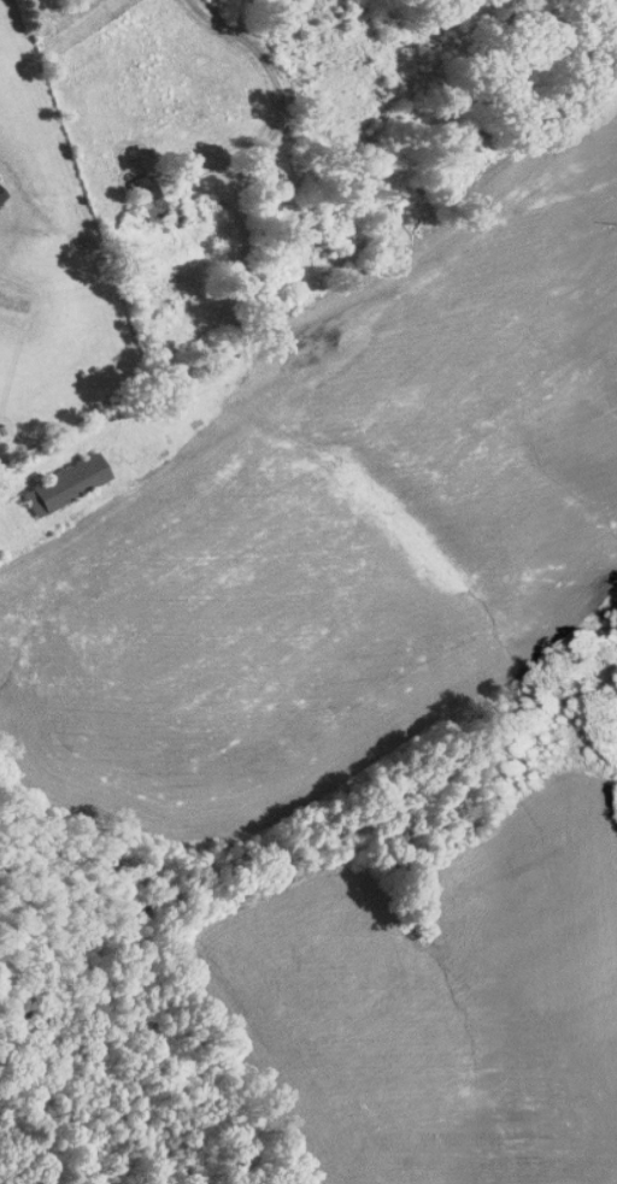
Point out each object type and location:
building: (141, 199)
building: (55, 476)

